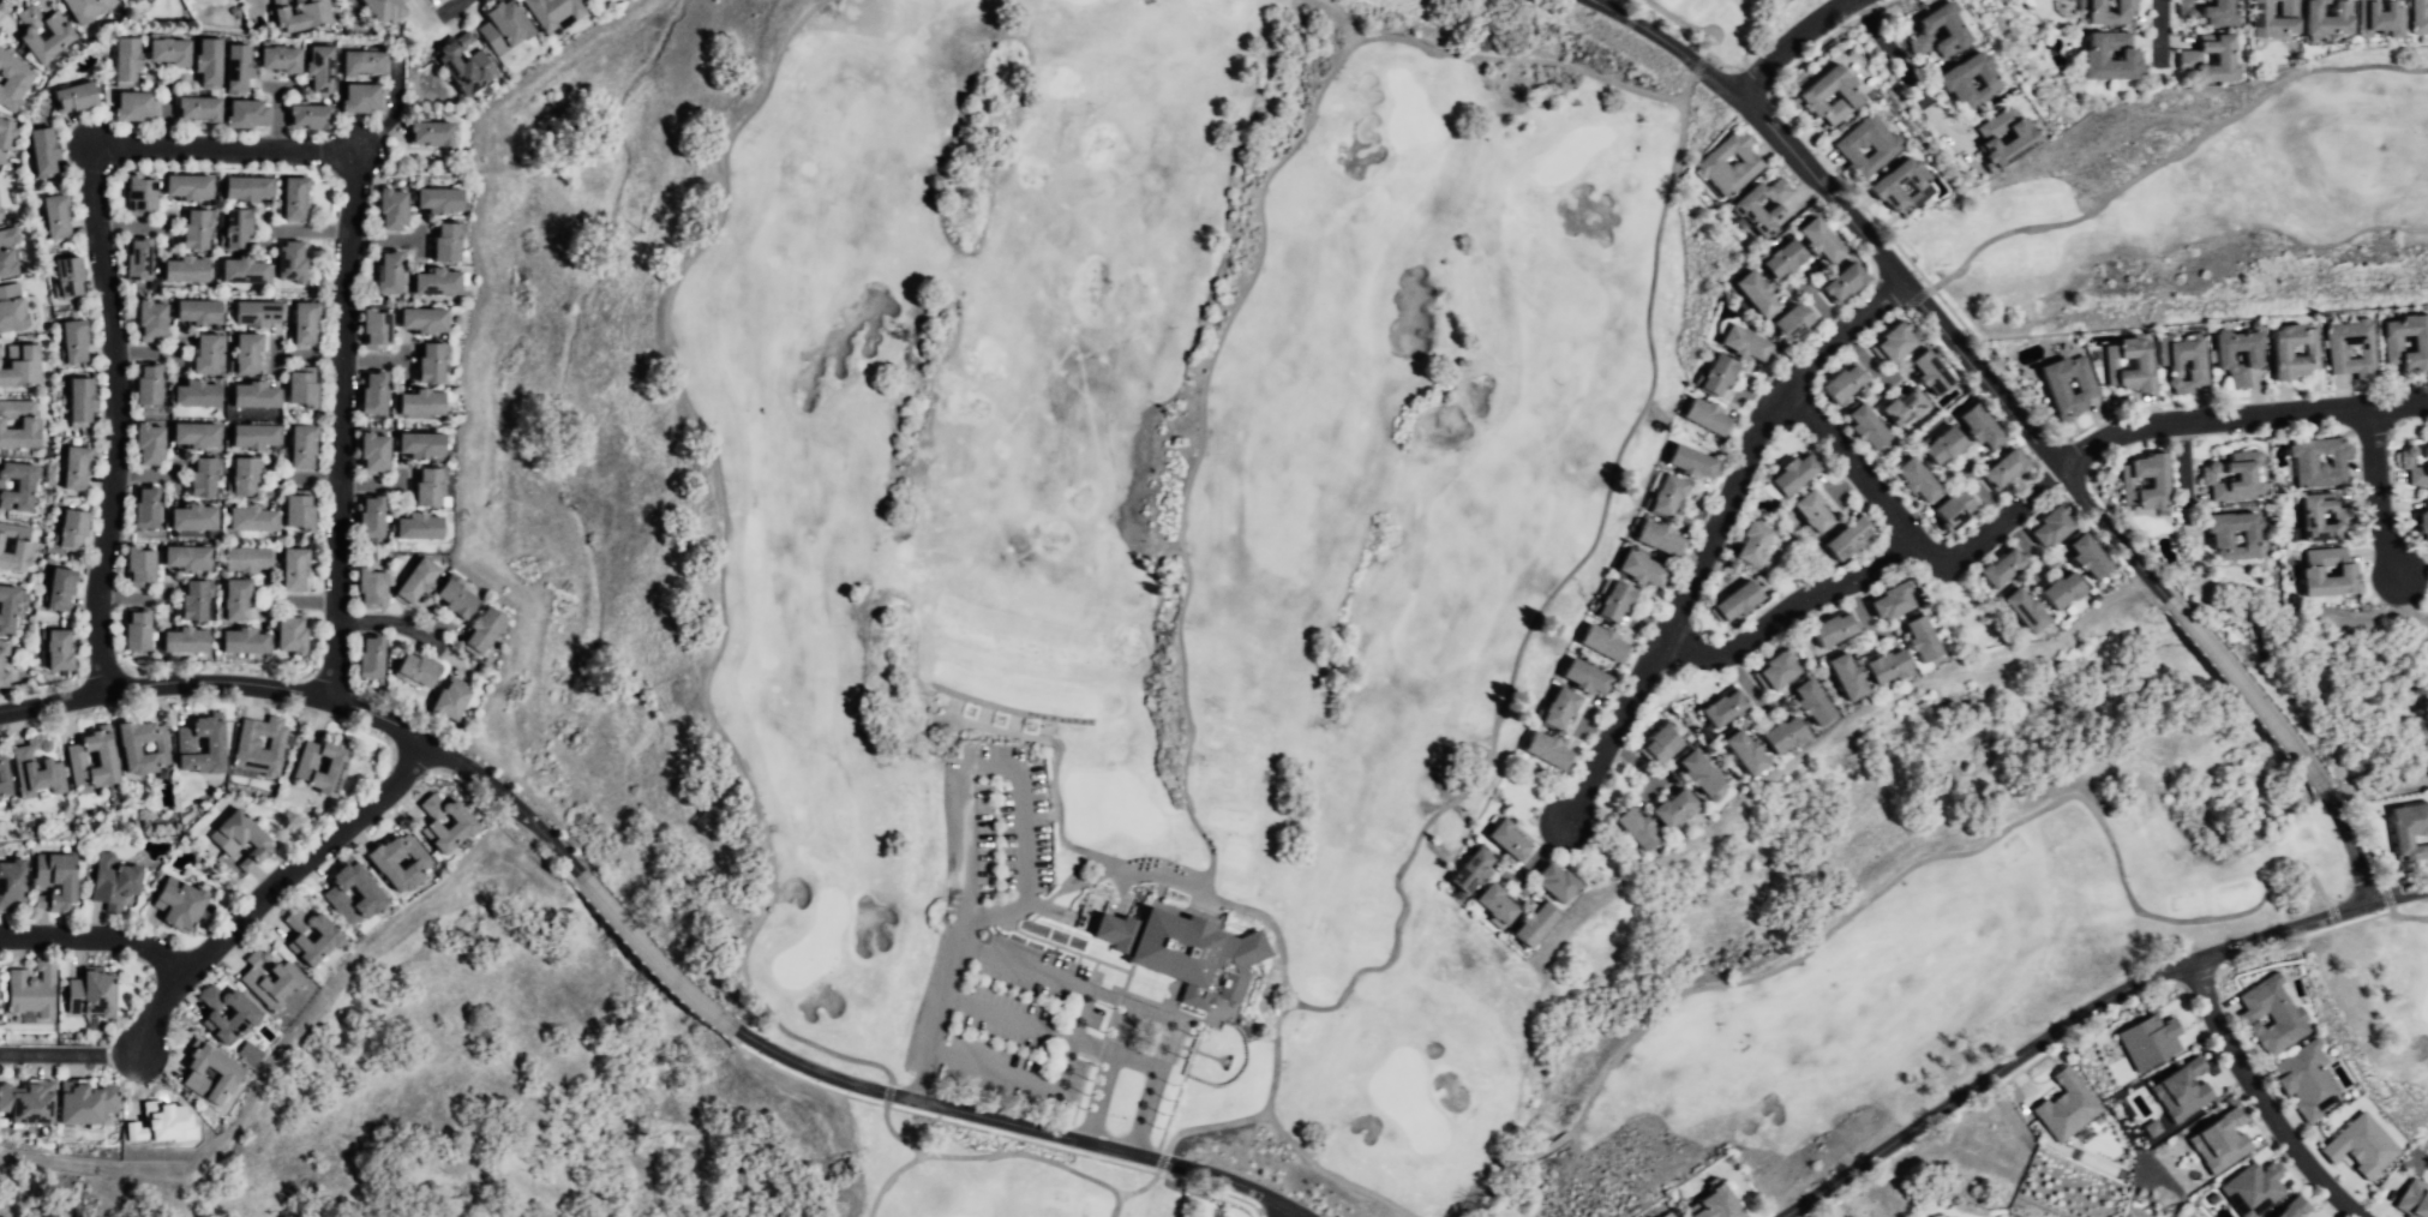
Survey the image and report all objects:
building: (131, 0)
building: (134, 0)
road: (448, 5)
building: (2282, 5)
building: (2178, 7)
building: (88, 10)
building: (384, 10)
building: (2212, 10)
building: (558, 12)
building: (2104, 12)
building: (302, 14)
building: (2376, 16)
building: (2417, 16)
building: (2261, 19)
building: (2321, 19)
building: (506, 28)
building: (1931, 29)
building: (44, 34)
road: (2158, 34)
road: (1711, 38)
road: (1785, 41)
building: (170, 50)
building: (2088, 54)
building: (128, 59)
building: (282, 59)
building: (2186, 59)
building: (210, 61)
building: (366, 61)
building: (238, 68)
building: (322, 70)
building: (468, 70)
building: (12, 78)
road: (1907, 80)
building: (1948, 83)
building: (1822, 91)
building: (77, 97)
building: (362, 98)
building: (137, 106)
building: (198, 109)
road: (395, 110)
building: (248, 115)
building: (312, 116)
building: (433, 133)
building: (5, 137)
building: (2014, 138)
building: (1863, 142)
road: (232, 150)
building: (44, 151)
building: (1707, 161)
building: (1878, 184)
building: (187, 187)
building: (248, 187)
building: (143, 197)
building: (296, 199)
building: (442, 202)
building: (392, 210)
building: (1740, 210)
building: (59, 215)
building: (196, 228)
building: (239, 230)
building: (1811, 238)
building: (450, 244)
building: (7, 250)
building: (138, 259)
building: (1775, 259)
building: (293, 263)
building: (187, 270)
building: (245, 271)
building: (389, 271)
building: (66, 276)
building: (1836, 283)
building: (434, 284)
road: (1938, 284)
building: (1750, 293)
building: (12, 310)
building: (197, 313)
building: (260, 314)
building: (151, 319)
building: (426, 320)
building: (305, 324)
building: (1786, 324)
building: (378, 329)
building: (1887, 342)
building: (2405, 342)
building: (76, 343)
building: (1741, 344)
building: (2349, 347)
building: (2171, 352)
building: (2290, 352)
building: (206, 353)
building: (246, 354)
building: (2234, 354)
building: (433, 364)
building: (22, 366)
building: (2126, 367)
building: (1924, 372)
building: (1710, 373)
building: (150, 382)
building: (1836, 383)
building: (2048, 383)
building: (304, 388)
building: (374, 390)
building: (198, 394)
building: (256, 394)
building: (83, 402)
building: (424, 402)
building: (1898, 406)
building: (1701, 418)
road: (2020, 418)
road: (2240, 419)
road: (114, 421)
building: (19, 424)
road: (338, 424)
building: (1972, 425)
building: (1859, 426)
building: (197, 432)
building: (256, 434)
building: (150, 443)
building: (424, 443)
building: (301, 445)
building: (1936, 446)
road: (1204, 449)
building: (378, 452)
building: (1693, 461)
building: (2316, 461)
building: (2412, 466)
building: (77, 467)
road: (1856, 469)
building: (1996, 469)
building: (204, 475)
building: (246, 476)
building: (1789, 478)
building: (1908, 478)
road: (2183, 479)
building: (2231, 481)
building: (2151, 484)
building: (17, 485)
building: (426, 486)
road: (2378, 494)
building: (1669, 496)
building: (2423, 497)
building: (145, 505)
building: (301, 509)
building: (1947, 509)
building: (1813, 511)
building: (371, 515)
building: (193, 516)
building: (2320, 517)
building: (254, 518)
building: (2420, 523)
building: (421, 526)
building: (73, 527)
building: (2044, 528)
road: (1713, 534)
building: (1661, 538)
building: (1851, 538)
building: (2213, 539)
building: (1756, 541)
building: (14, 548)
building: (2082, 554)
building: (186, 557)
building: (250, 558)
park: (1459, 560)
road: (1577, 563)
building: (142, 564)
road: (1864, 566)
building: (295, 568)
building: (1644, 568)
building: (1995, 568)
building: (2325, 574)
building: (419, 581)
building: (372, 584)
building: (61, 587)
building: (2054, 590)
building: (238, 596)
building: (196, 598)
building: (1895, 598)
building: (457, 599)
building: (1619, 600)
building: (1740, 601)
building: (10, 608)
building: (2018, 610)
road: (389, 623)
building: (138, 629)
building: (486, 629)
building: (1833, 630)
building: (294, 634)
building: (186, 639)
building: (1928, 639)
building: (246, 641)
building: (1607, 642)
building: (61, 649)
building: (370, 654)
building: (4, 663)
building: (1893, 665)
building: (419, 667)
building: (1781, 667)
building: (1851, 675)
building: (1590, 676)
building: (452, 699)
building: (1816, 702)
building: (1729, 707)
building: (1563, 709)
building: (1787, 735)
building: (248, 742)
building: (204, 744)
building: (131, 747)
building: (1661, 747)
building: (1553, 750)
building: (1749, 750)
building: (78, 759)
building: (306, 763)
building: (38, 768)
building: (1703, 772)
building: (4, 777)
road: (744, 786)
building: (0, 799)
road: (957, 802)
building: (1679, 808)
building: (446, 822)
building: (1639, 827)
building: (2403, 829)
building: (240, 838)
building: (1511, 840)
building: (401, 861)
building: (1473, 871)
road: (1901, 875)
building: (56, 880)
building: (115, 881)
building: (11, 882)
building: (1560, 882)
road: (1200, 885)
building: (372, 894)
road: (270, 897)
building: (182, 904)
building: (1497, 906)
road: (2416, 917)
road: (2309, 923)
building: (1539, 925)
road: (633, 930)
building: (312, 936)
road: (97, 942)
building: (1182, 951)
building: (272, 977)
parking lot: (1029, 982)
building: (32, 990)
building: (92, 991)
road: (1081, 1012)
building: (230, 1013)
building: (2268, 1014)
road: (1144, 1019)
road: (925, 1024)
building: (2147, 1041)
road: (66, 1057)
building: (209, 1072)
road: (1013, 1072)
road: (1982, 1080)
building: (2301, 1081)
building: (2180, 1090)
road: (2259, 1099)
building: (88, 1104)
building: (29, 1105)
building: (2064, 1105)
building: (2219, 1140)
building: (2360, 1145)
road: (891, 1182)
building: (2250, 1188)
building: (2411, 1200)
road: (1113, 1203)
building: (1720, 1206)
building: (2291, 1207)
road: (1279, 1211)
road: (1289, 1211)
building: (1665, 1213)
building: (1674, 1216)

